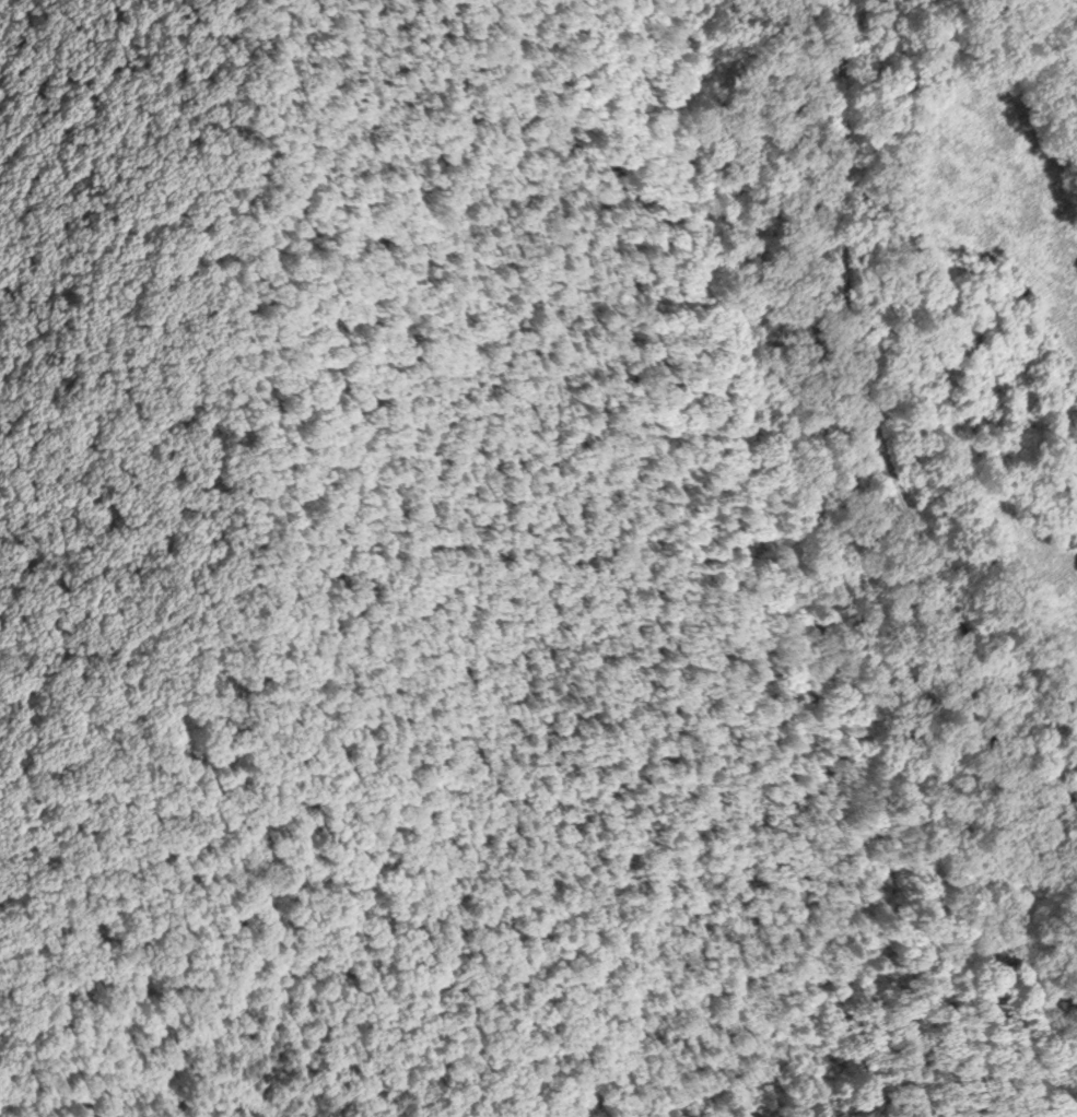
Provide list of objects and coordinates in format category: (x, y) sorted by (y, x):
road: (876, 425)

